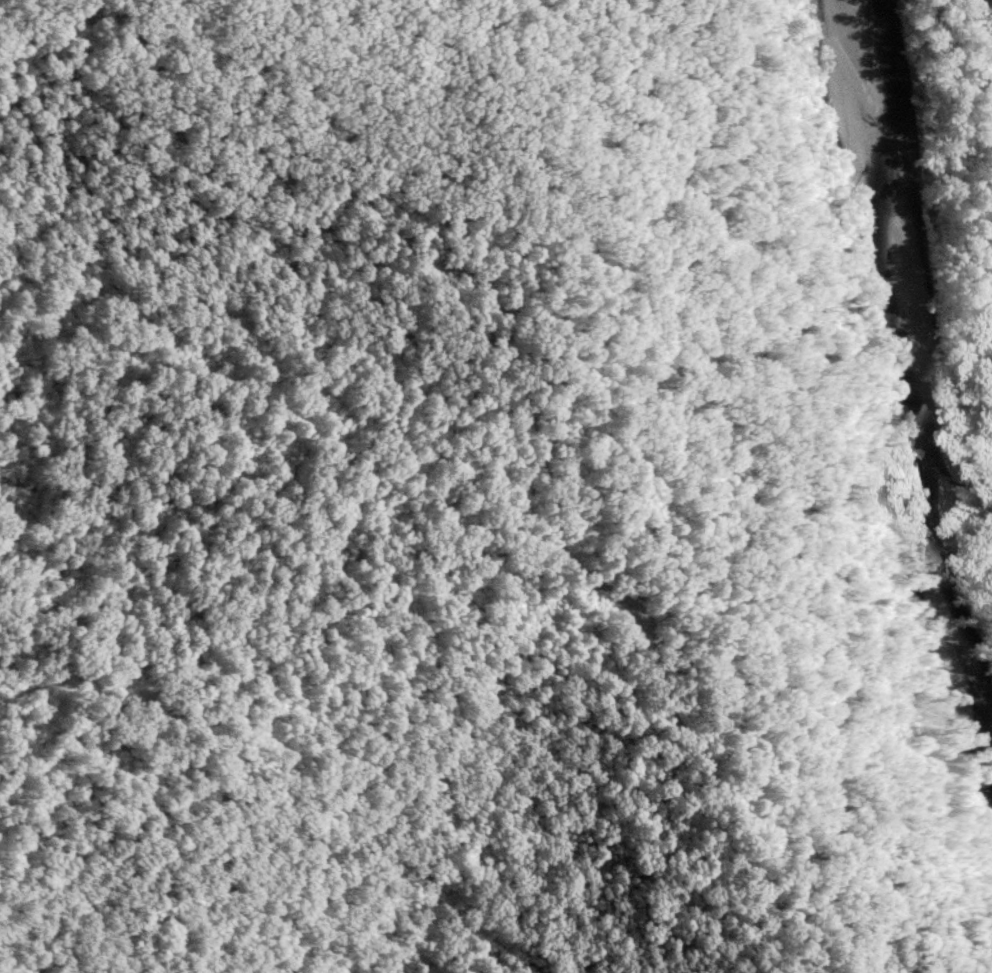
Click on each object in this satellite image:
river: (897, 396)

